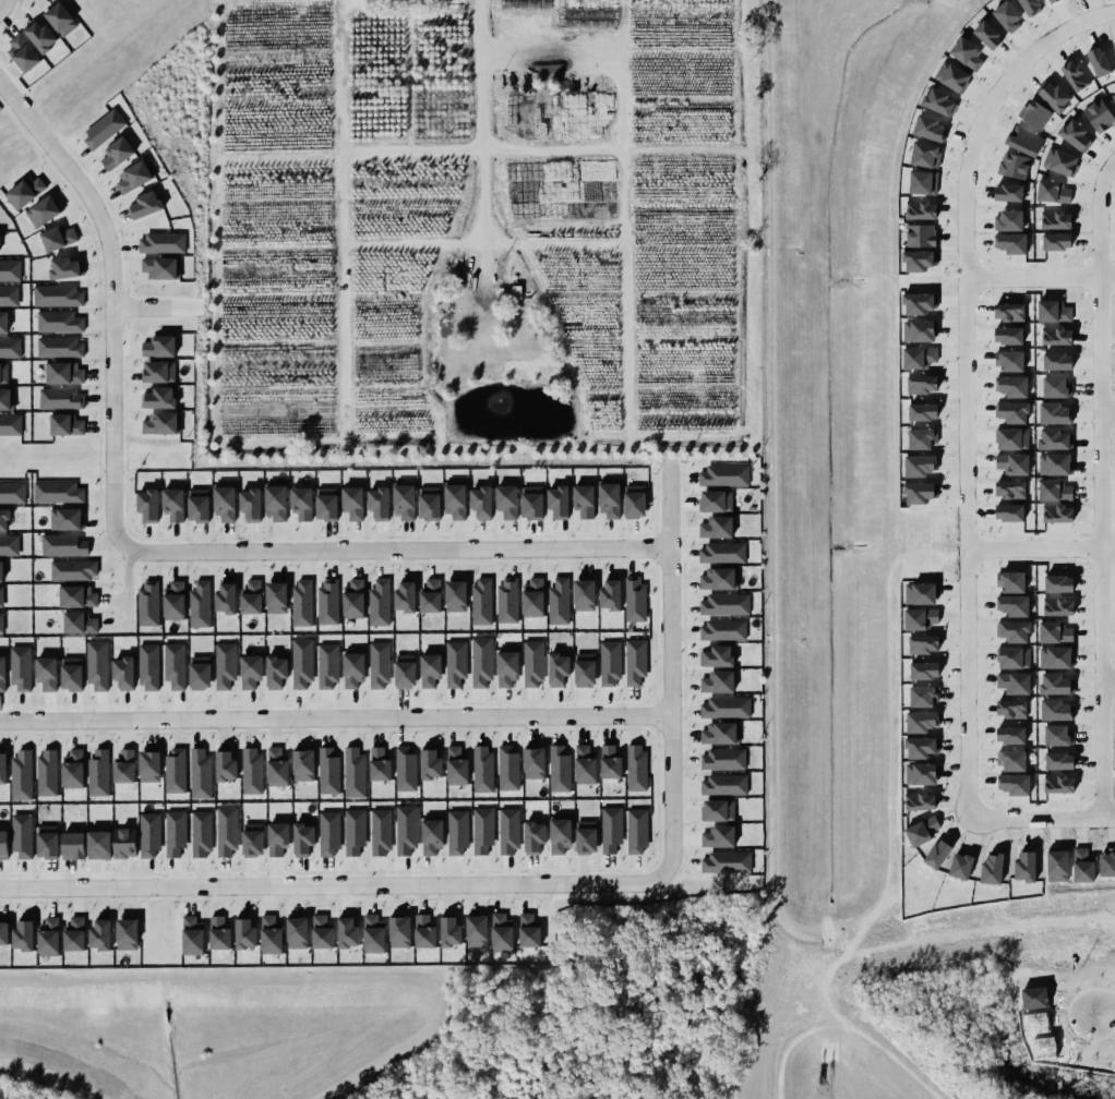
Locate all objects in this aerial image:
building: (1051, 1)
road: (2, 4)
building: (1030, 7)
building: (1007, 16)
building: (60, 19)
building: (987, 35)
building: (39, 36)
building: (1114, 47)
building: (23, 53)
building: (967, 53)
building: (1099, 61)
building: (1074, 75)
building: (952, 76)
building: (1055, 96)
building: (1113, 97)
building: (938, 100)
building: (1035, 114)
building: (1099, 114)
road: (483, 120)
building: (928, 128)
building: (103, 129)
building: (1074, 134)
building: (1023, 141)
building: (116, 153)
building: (925, 155)
building: (1062, 161)
building: (1014, 165)
building: (134, 176)
building: (923, 182)
building: (1052, 191)
building: (24, 192)
building: (1008, 192)
building: (144, 204)
building: (920, 209)
building: (43, 210)
building: (1009, 219)
building: (1056, 219)
crop: (481, 226)
building: (920, 234)
building: (57, 238)
building: (1056, 241)
building: (160, 242)
building: (1010, 242)
building: (918, 261)
building: (64, 267)
building: (159, 268)
building: (10, 269)
road: (1040, 279)
building: (9, 295)
building: (57, 295)
road: (110, 298)
road: (155, 307)
building: (1008, 311)
building: (1053, 311)
building: (3, 322)
building: (58, 322)
building: (1008, 335)
building: (1055, 336)
building: (158, 346)
building: (10, 347)
building: (60, 347)
building: (1011, 361)
building: (1057, 361)
building: (159, 372)
building: (3, 373)
building: (64, 373)
building: (1011, 386)
building: (1057, 387)
building: (158, 398)
building: (5, 399)
building: (60, 399)
building: (1012, 411)
road: (1108, 412)
building: (1054, 413)
building: (159, 423)
building: (10, 424)
building: (64, 424)
building: (1012, 438)
building: (1053, 438)
road: (964, 446)
building: (1011, 463)
building: (1055, 463)
building: (723, 475)
road: (1102, 487)
building: (1009, 490)
building: (1054, 491)
building: (12, 492)
building: (58, 492)
building: (608, 499)
building: (454, 500)
building: (506, 500)
building: (584, 500)
building: (716, 500)
building: (275, 502)
building: (404, 502)
building: (480, 502)
building: (531, 502)
building: (557, 502)
building: (634, 502)
building: (301, 503)
building: (326, 503)
building: (352, 503)
building: (379, 503)
building: (429, 503)
building: (172, 504)
building: (224, 504)
building: (147, 505)
building: (197, 505)
building: (250, 505)
building: (1009, 512)
building: (1057, 514)
building: (3, 518)
building: (65, 519)
building: (715, 527)
building: (9, 544)
building: (62, 545)
road: (1040, 545)
road: (391, 549)
building: (721, 553)
building: (73, 570)
building: (1, 571)
building: (717, 579)
building: (1012, 581)
building: (1058, 582)
road: (130, 591)
building: (583, 594)
building: (610, 594)
building: (77, 595)
building: (404, 595)
building: (430, 595)
building: (455, 595)
building: (1, 596)
building: (532, 596)
building: (250, 597)
building: (276, 597)
building: (225, 599)
building: (352, 599)
building: (634, 599)
building: (481, 600)
building: (506, 600)
building: (172, 601)
building: (327, 601)
building: (557, 601)
building: (301, 602)
building: (379, 603)
building: (147, 604)
building: (199, 604)
building: (724, 604)
building: (1012, 604)
building: (1057, 606)
building: (1, 623)
building: (79, 623)
building: (722, 630)
building: (1014, 631)
building: (1055, 631)
building: (716, 655)
building: (1014, 657)
building: (1056, 657)
building: (635, 661)
building: (301, 662)
building: (480, 662)
building: (456, 663)
building: (609, 663)
building: (532, 664)
road: (667, 664)
building: (96, 665)
building: (173, 665)
building: (224, 665)
building: (326, 665)
building: (377, 665)
building: (148, 666)
building: (506, 667)
building: (19, 668)
building: (352, 668)
building: (430, 669)
building: (557, 669)
building: (584, 669)
building: (2, 671)
building: (250, 671)
building: (275, 671)
building: (405, 671)
building: (200, 672)
building: (46, 673)
building: (122, 673)
building: (71, 674)
building: (717, 681)
building: (1014, 683)
building: (1055, 684)
road: (1108, 685)
building: (724, 706)
building: (1010, 708)
building: (1056, 710)
road: (333, 717)
building: (719, 733)
building: (1010, 735)
building: (1058, 735)
building: (722, 759)
building: (1012, 760)
building: (1058, 760)
building: (533, 762)
building: (610, 762)
building: (430, 763)
building: (584, 763)
building: (225, 764)
building: (379, 764)
building: (456, 764)
building: (148, 765)
building: (276, 765)
building: (302, 765)
building: (2, 766)
building: (123, 766)
building: (507, 766)
building: (636, 766)
building: (72, 768)
building: (405, 768)
building: (482, 768)
building: (559, 769)
building: (175, 770)
building: (251, 770)
building: (327, 771)
building: (46, 772)
building: (353, 772)
building: (97, 773)
building: (199, 773)
building: (21, 774)
building: (1014, 784)
building: (1057, 784)
building: (723, 785)
building: (718, 810)
building: (405, 829)
building: (611, 829)
building: (482, 830)
building: (225, 831)
building: (353, 831)
building: (508, 831)
building: (636, 831)
building: (380, 832)
building: (456, 832)
building: (173, 833)
building: (328, 833)
building: (200, 834)
building: (21, 835)
building: (148, 835)
building: (559, 835)
building: (717, 835)
building: (431, 836)
building: (533, 836)
building: (586, 836)
building: (277, 837)
building: (252, 840)
building: (302, 840)
building: (47, 842)
building: (124, 842)
building: (3, 844)
building: (98, 844)
building: (71, 845)
building: (727, 861)
road: (334, 885)
building: (475, 931)
building: (526, 931)
building: (2, 932)
building: (397, 932)
building: (447, 932)
building: (295, 933)
building: (320, 933)
building: (346, 933)
building: (422, 933)
building: (499, 933)
building: (125, 934)
building: (218, 934)
building: (243, 935)
building: (268, 935)
building: (371, 935)
building: (22, 937)
building: (72, 937)
building: (98, 937)
building: (192, 937)
building: (46, 938)
road: (1104, 1012)

